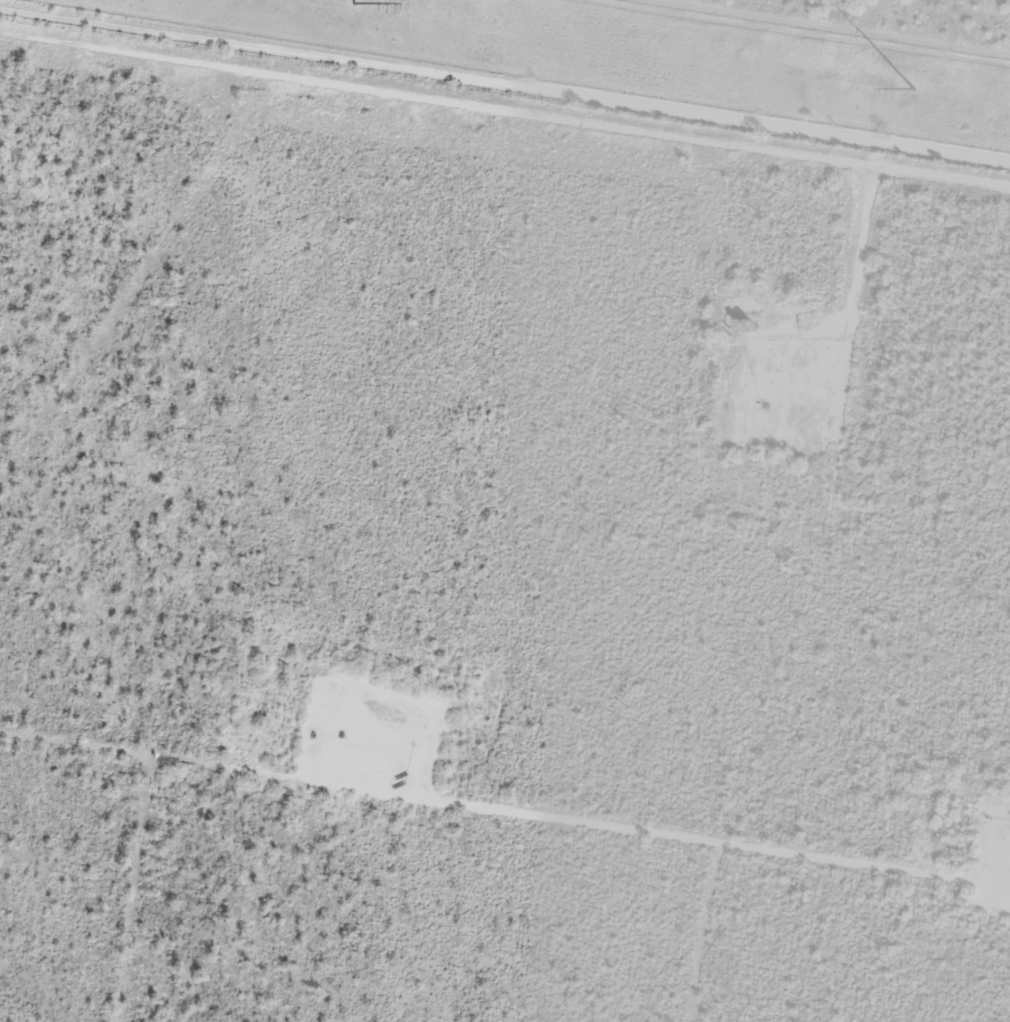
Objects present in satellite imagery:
power tower: (354, 2)
road: (302, 77)
power tower: (913, 88)
road: (807, 157)

